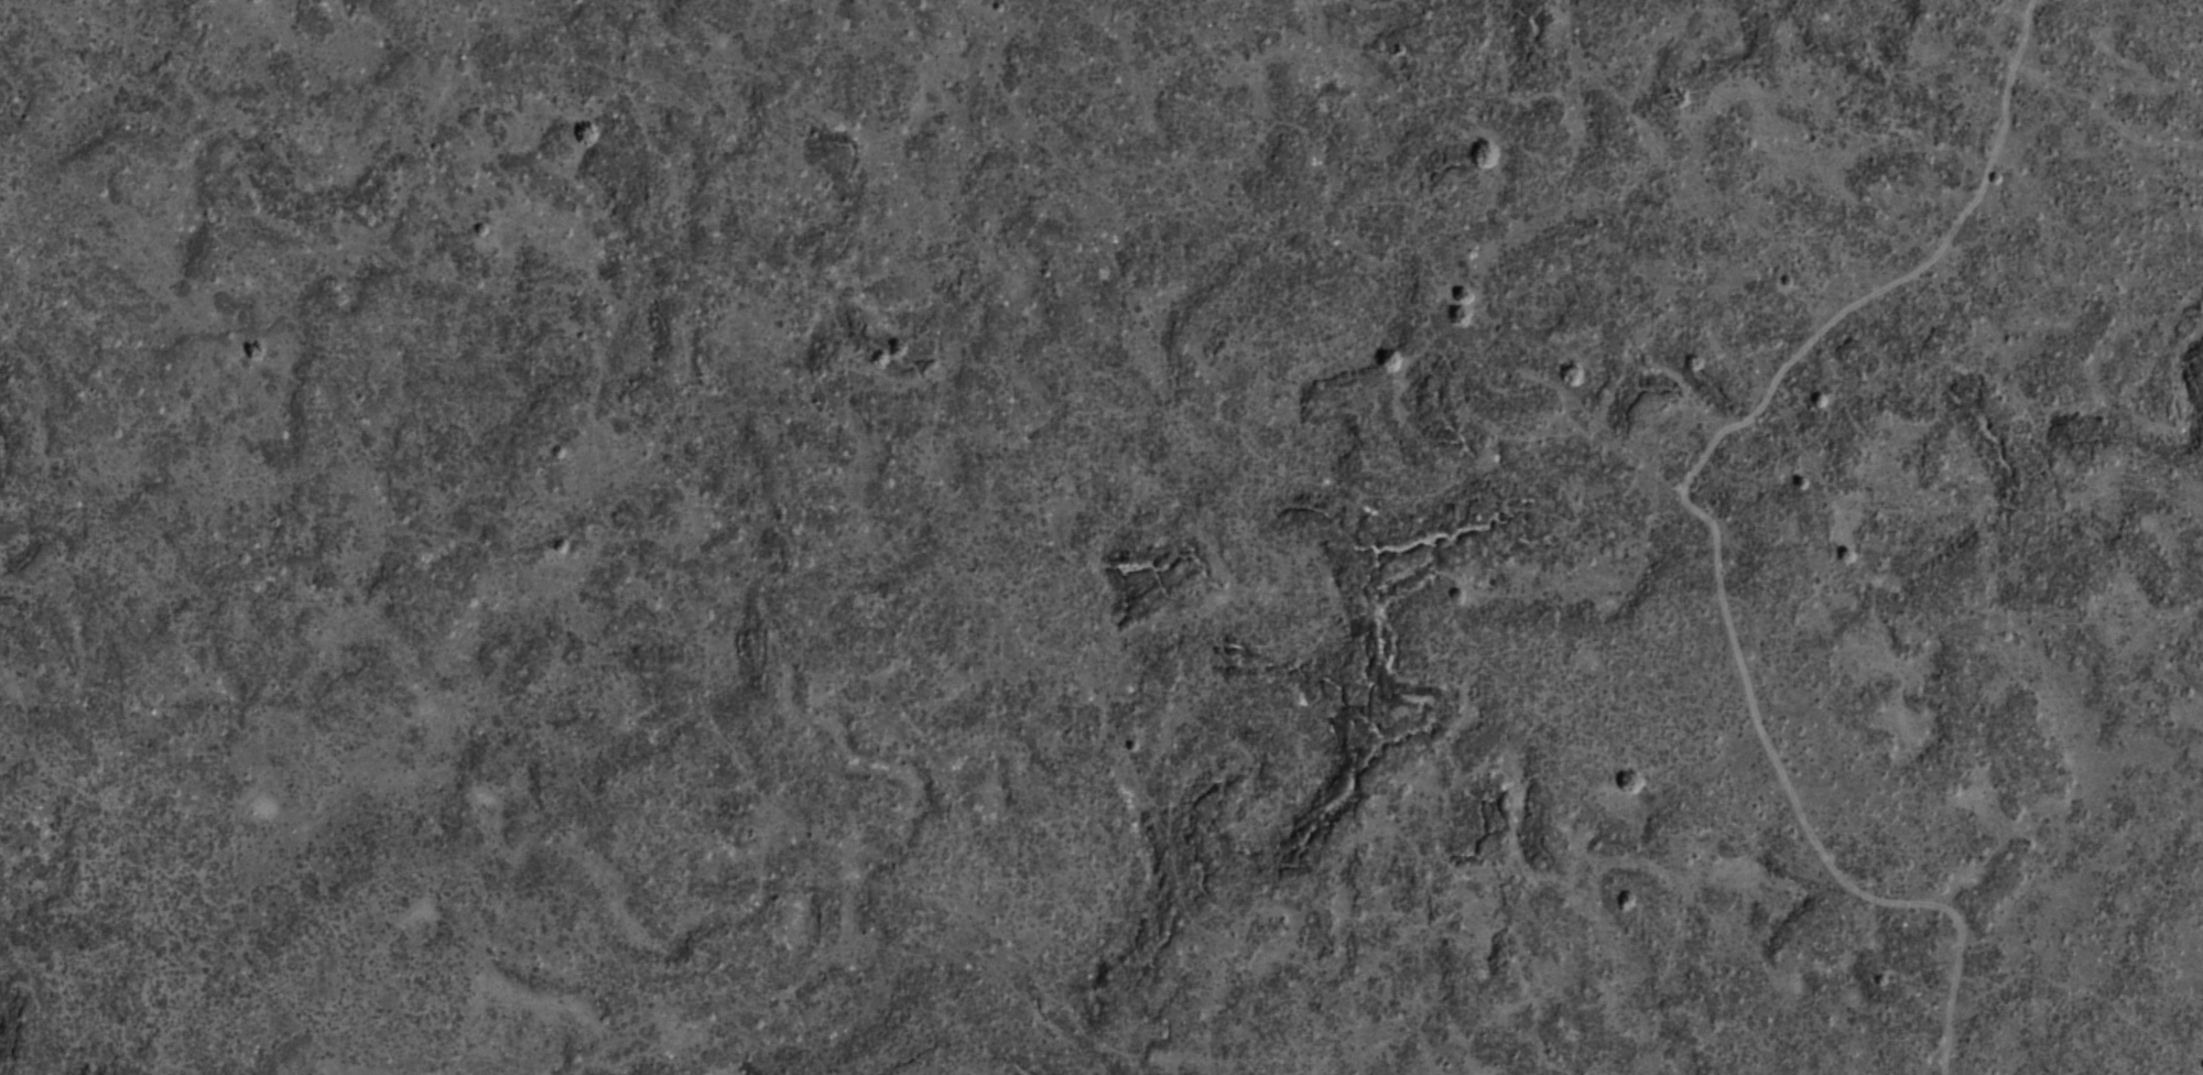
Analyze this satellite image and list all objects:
road: (1710, 522)

